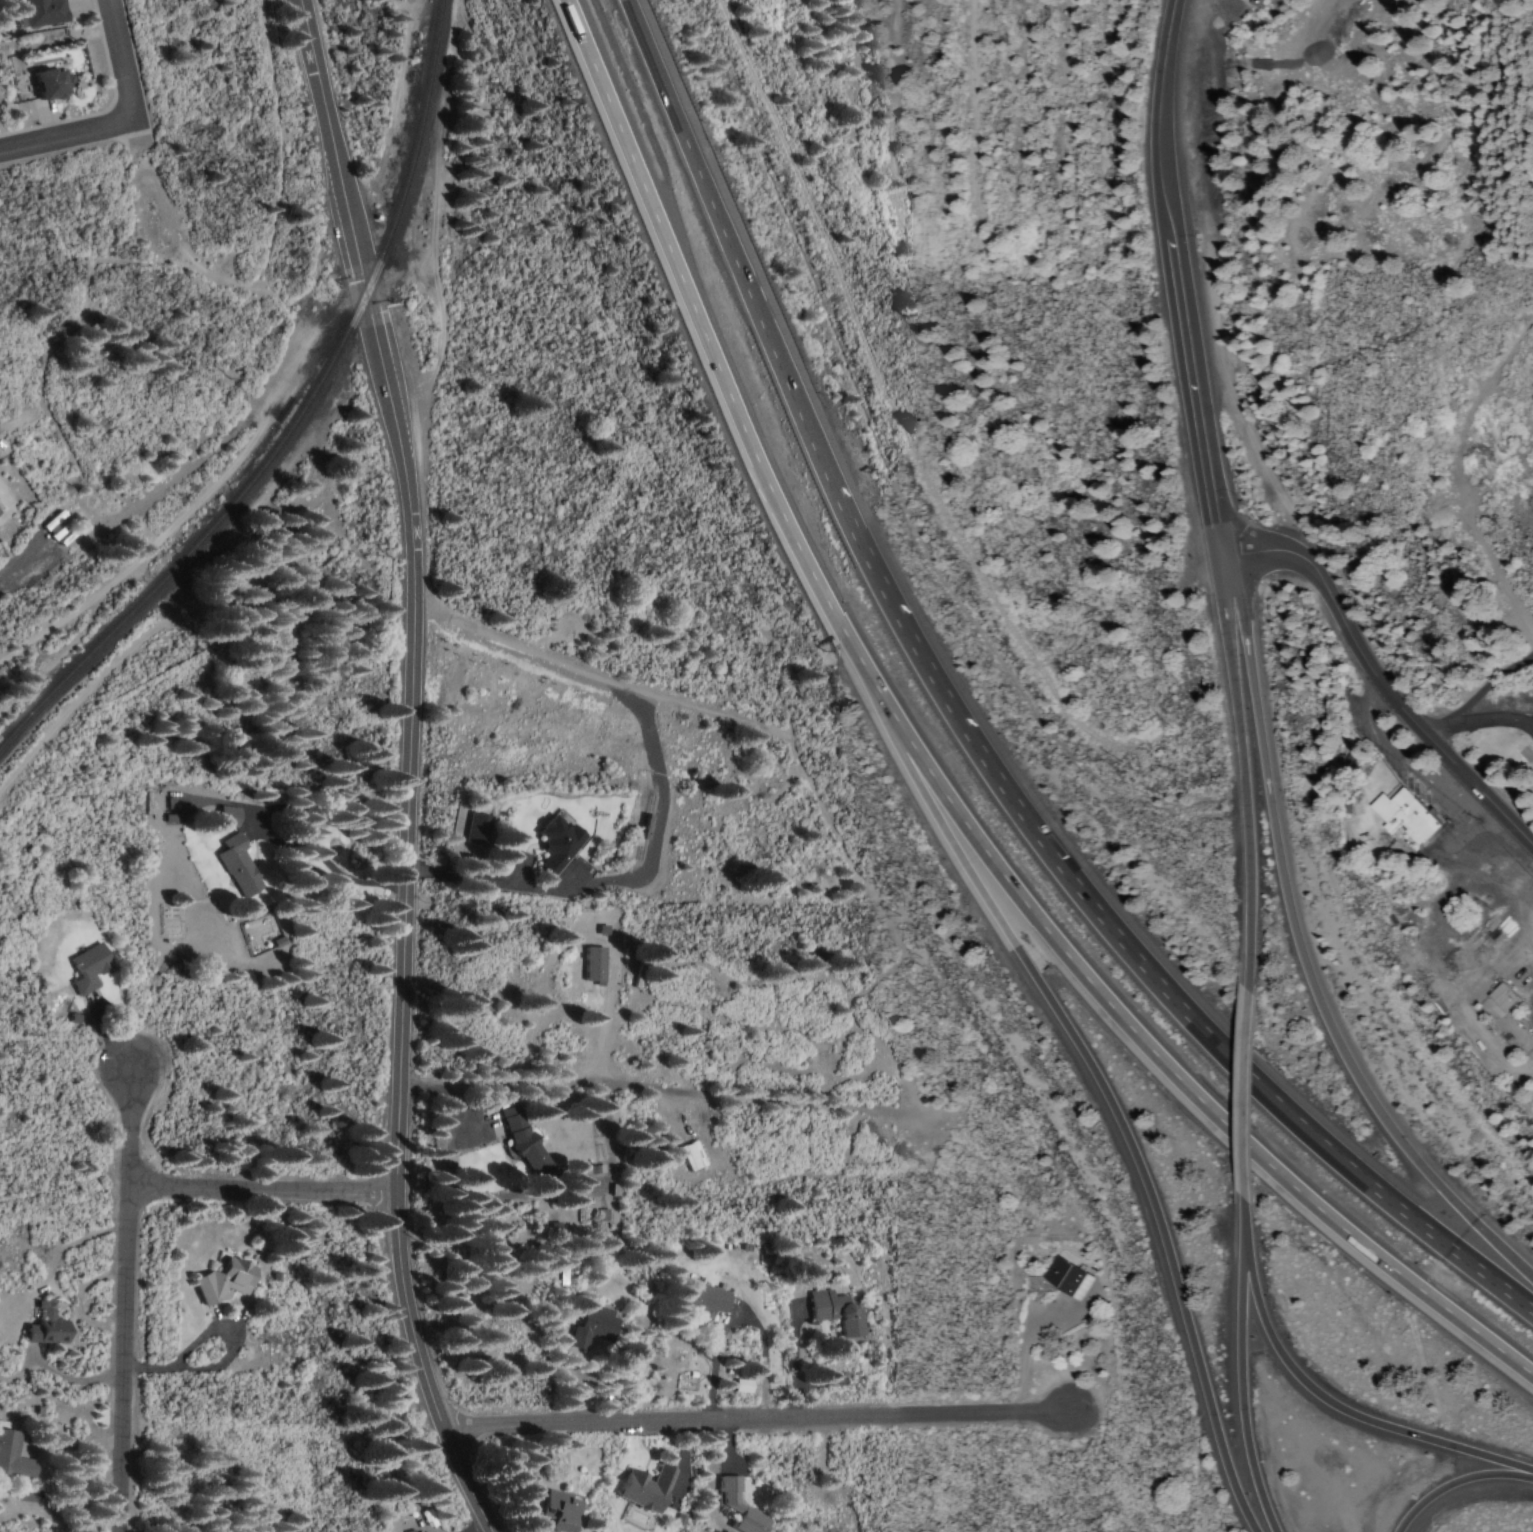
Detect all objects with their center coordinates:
building: (1255, 3)
building: (41, 12)
building: (47, 83)
road: (133, 83)
road: (40, 141)
road: (1171, 278)
railway: (291, 417)
road: (226, 445)
road: (598, 676)
road: (1375, 683)
road: (964, 740)
road: (1237, 759)
building: (1344, 763)
road: (408, 768)
road: (935, 773)
building: (225, 816)
building: (1408, 816)
building: (475, 828)
railway: (644, 828)
building: (554, 843)
building: (236, 865)
road: (1293, 957)
building: (591, 964)
building: (86, 967)
building: (1502, 997)
road: (1099, 1075)
road: (1247, 1081)
building: (523, 1144)
building: (691, 1155)
road: (264, 1188)
road: (1246, 1217)
building: (1066, 1278)
building: (220, 1280)
building: (703, 1299)
road: (122, 1301)
building: (834, 1312)
building: (43, 1326)
building: (593, 1328)
building: (741, 1386)
road: (1246, 1387)
road: (1342, 1406)
road: (756, 1416)
building: (13, 1458)
road: (1460, 1484)
building: (642, 1489)
building: (736, 1506)
building: (559, 1510)

